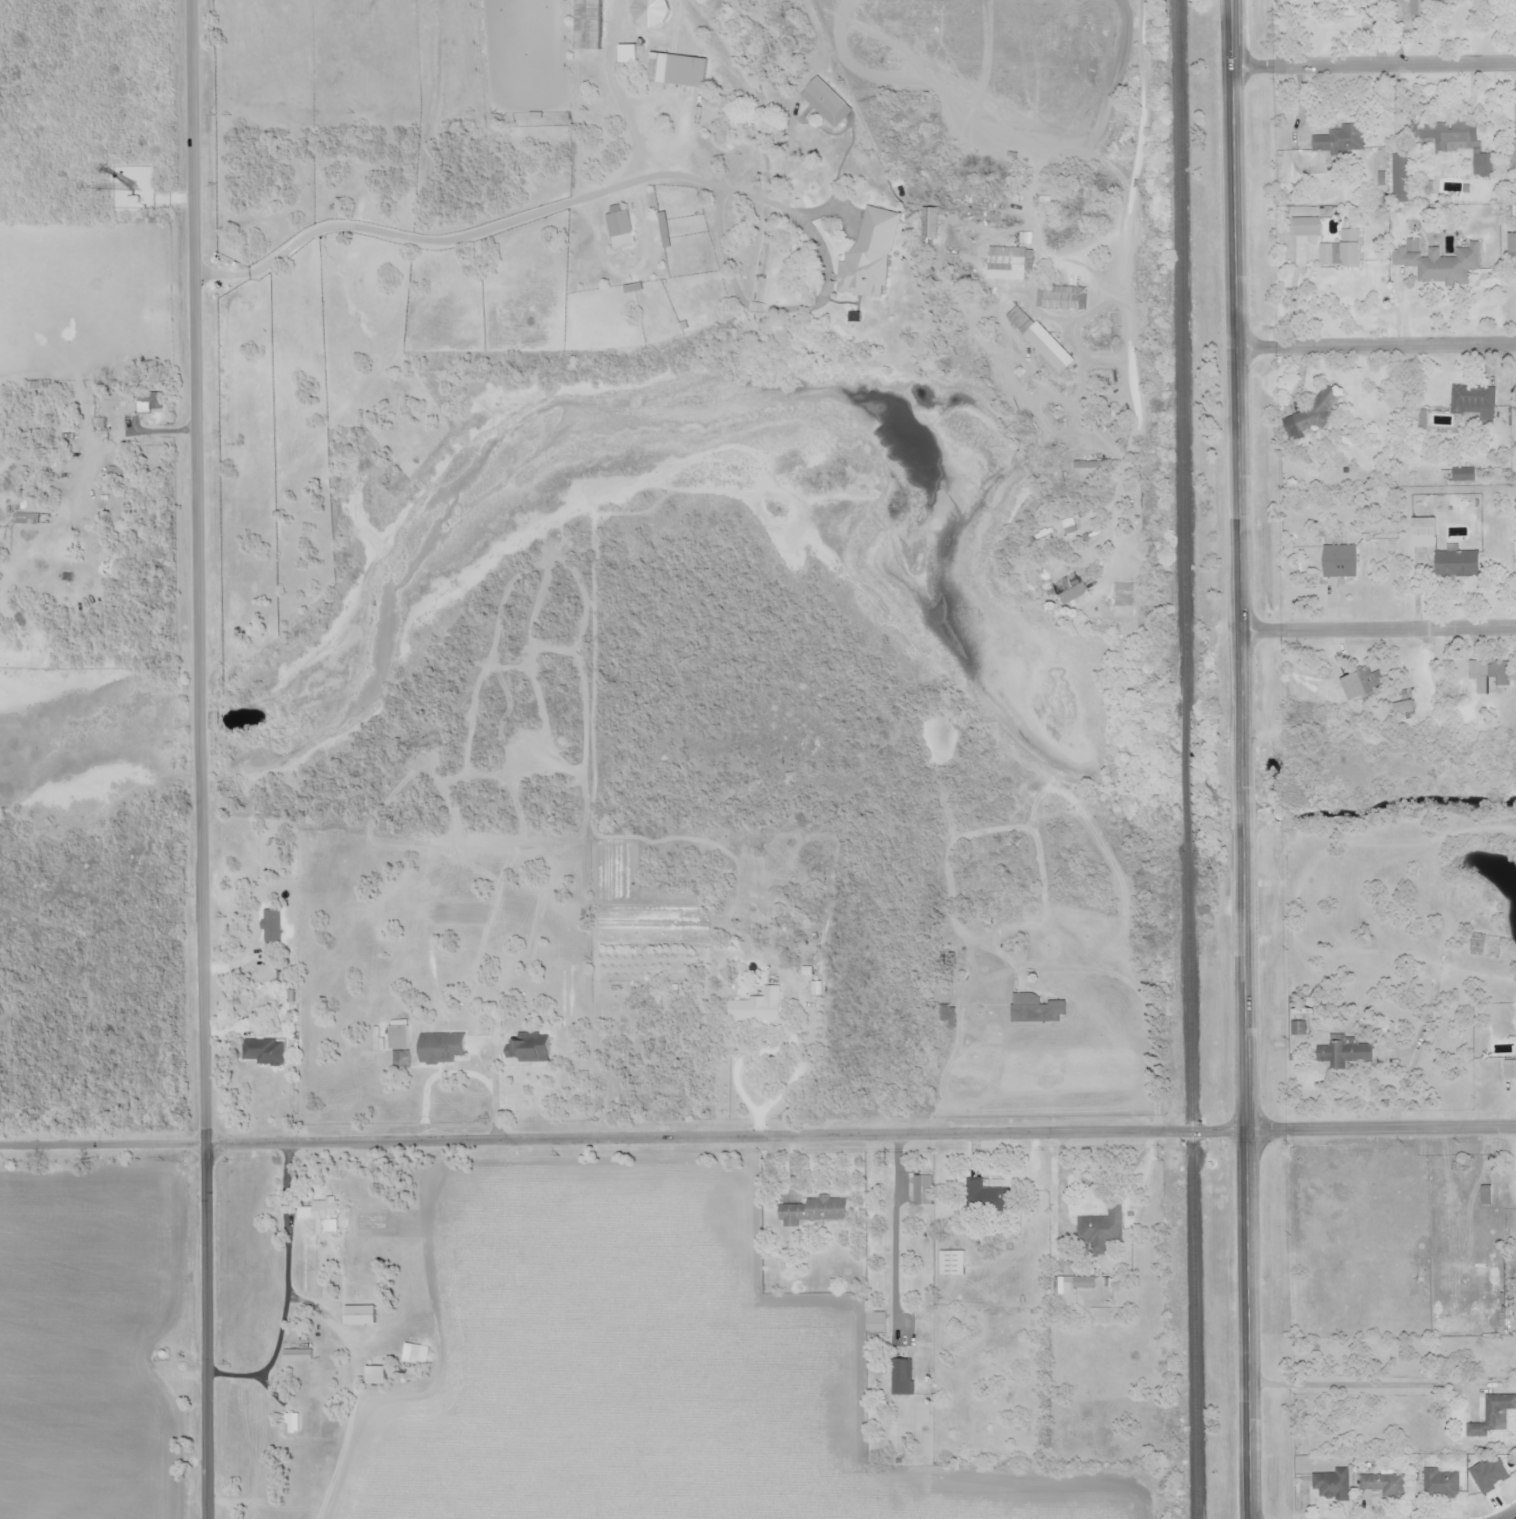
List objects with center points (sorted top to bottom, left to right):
building: (1515, 0)
building: (1345, 1)
building: (1419, 5)
building: (595, 25)
road: (1374, 65)
building: (678, 68)
building: (829, 98)
building: (1445, 134)
building: (1342, 141)
road: (1138, 148)
building: (1491, 167)
building: (1405, 178)
building: (1307, 228)
building: (624, 230)
building: (1512, 244)
building: (1342, 246)
building: (869, 255)
building: (1440, 259)
building: (1011, 262)
building: (1059, 295)
building: (1024, 320)
road: (1377, 346)
road: (196, 356)
railway: (1183, 357)
road: (1238, 369)
building: (1472, 401)
building: (148, 402)
building: (1314, 416)
building: (1091, 464)
building: (1425, 533)
building: (1342, 560)
building: (1456, 563)
building: (1074, 593)
road: (1379, 629)
building: (1489, 674)
building: (1359, 685)
road: (200, 729)
railway: (1188, 782)
road: (1243, 784)
building: (1479, 943)
building: (758, 1006)
building: (1037, 1009)
building: (400, 1034)
building: (533, 1047)
road: (764, 1050)
building: (264, 1051)
building: (1350, 1054)
building: (1509, 1070)
road: (1382, 1128)
road: (202, 1131)
road: (624, 1139)
road: (1248, 1173)
railway: (1194, 1184)
building: (924, 1190)
building: (983, 1193)
building: (321, 1210)
building: (814, 1211)
building: (1100, 1230)
building: (952, 1263)
building: (1072, 1288)
building: (361, 1315)
building: (877, 1322)
building: (299, 1354)
building: (377, 1375)
building: (907, 1376)
building: (1491, 1416)
building: (1489, 1477)
building: (1441, 1483)
building: (1382, 1485)
building: (1331, 1487)
road: (1513, 1517)

